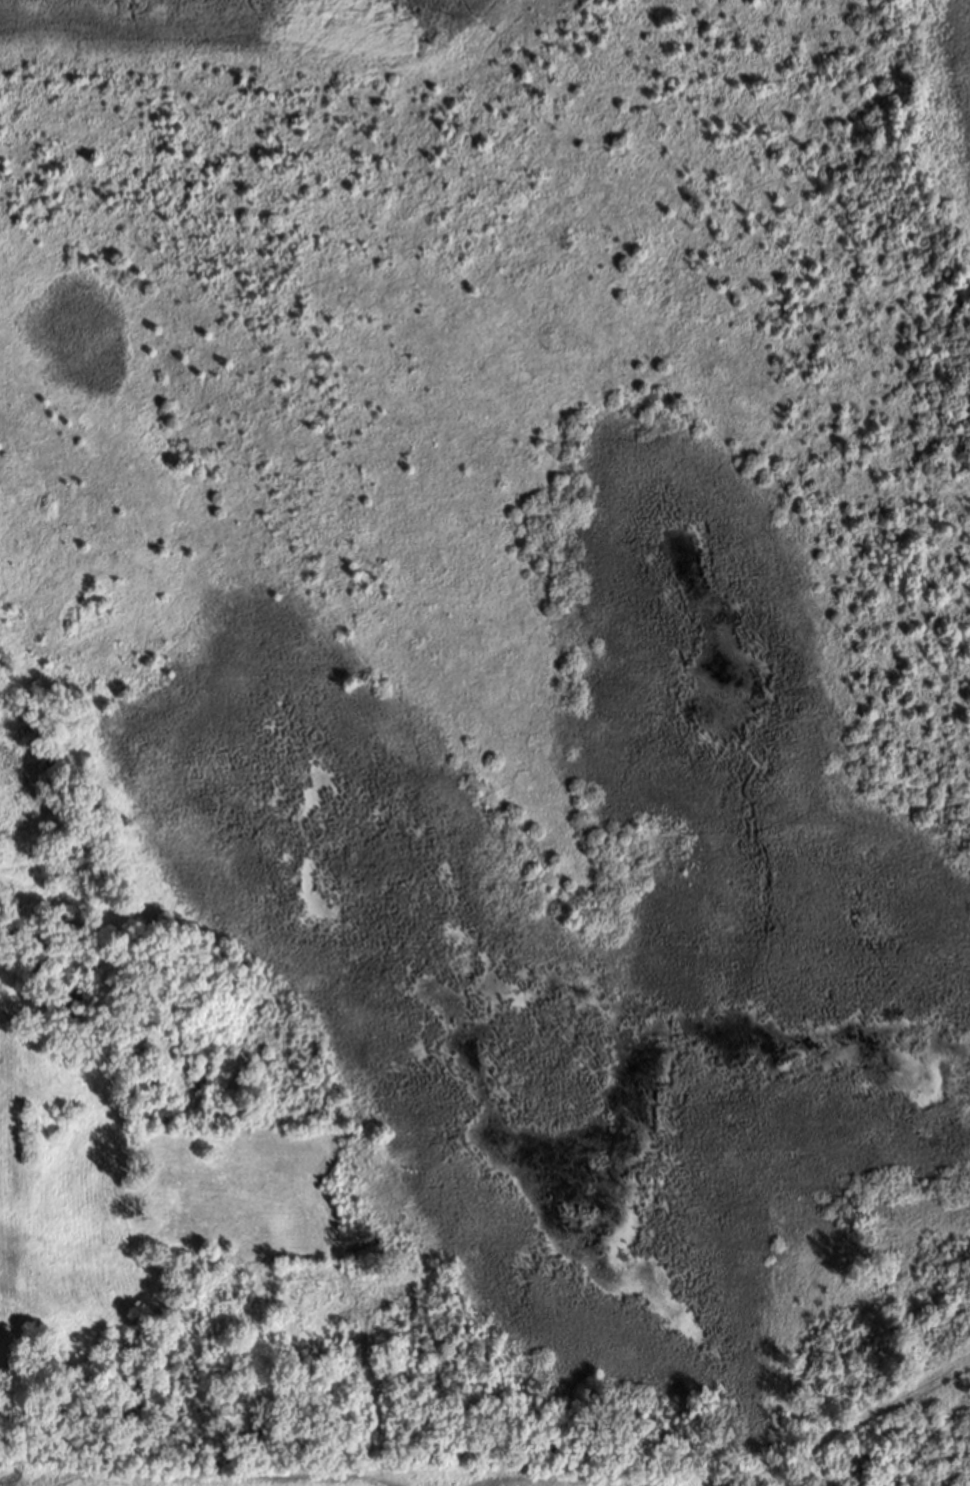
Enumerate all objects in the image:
crop: (345, 1471)

